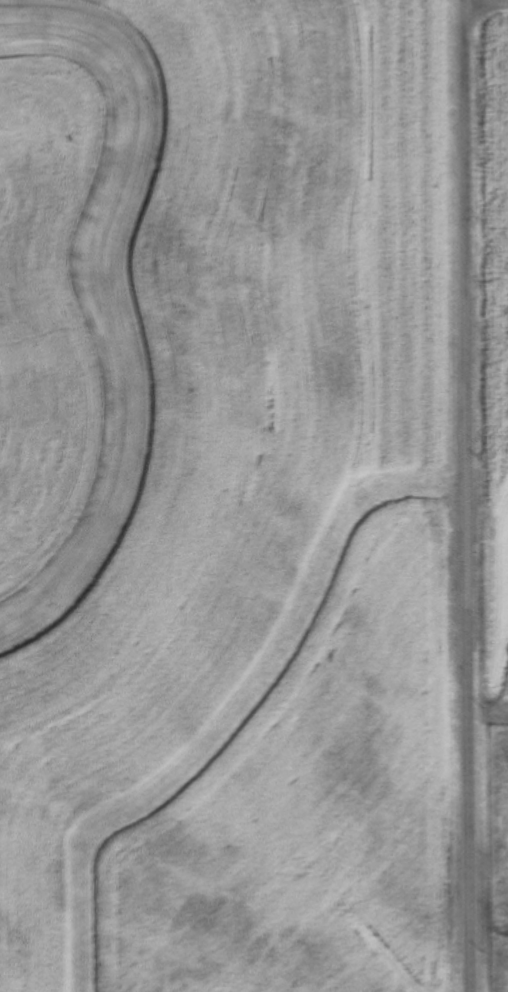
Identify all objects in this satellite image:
road: (463, 496)

